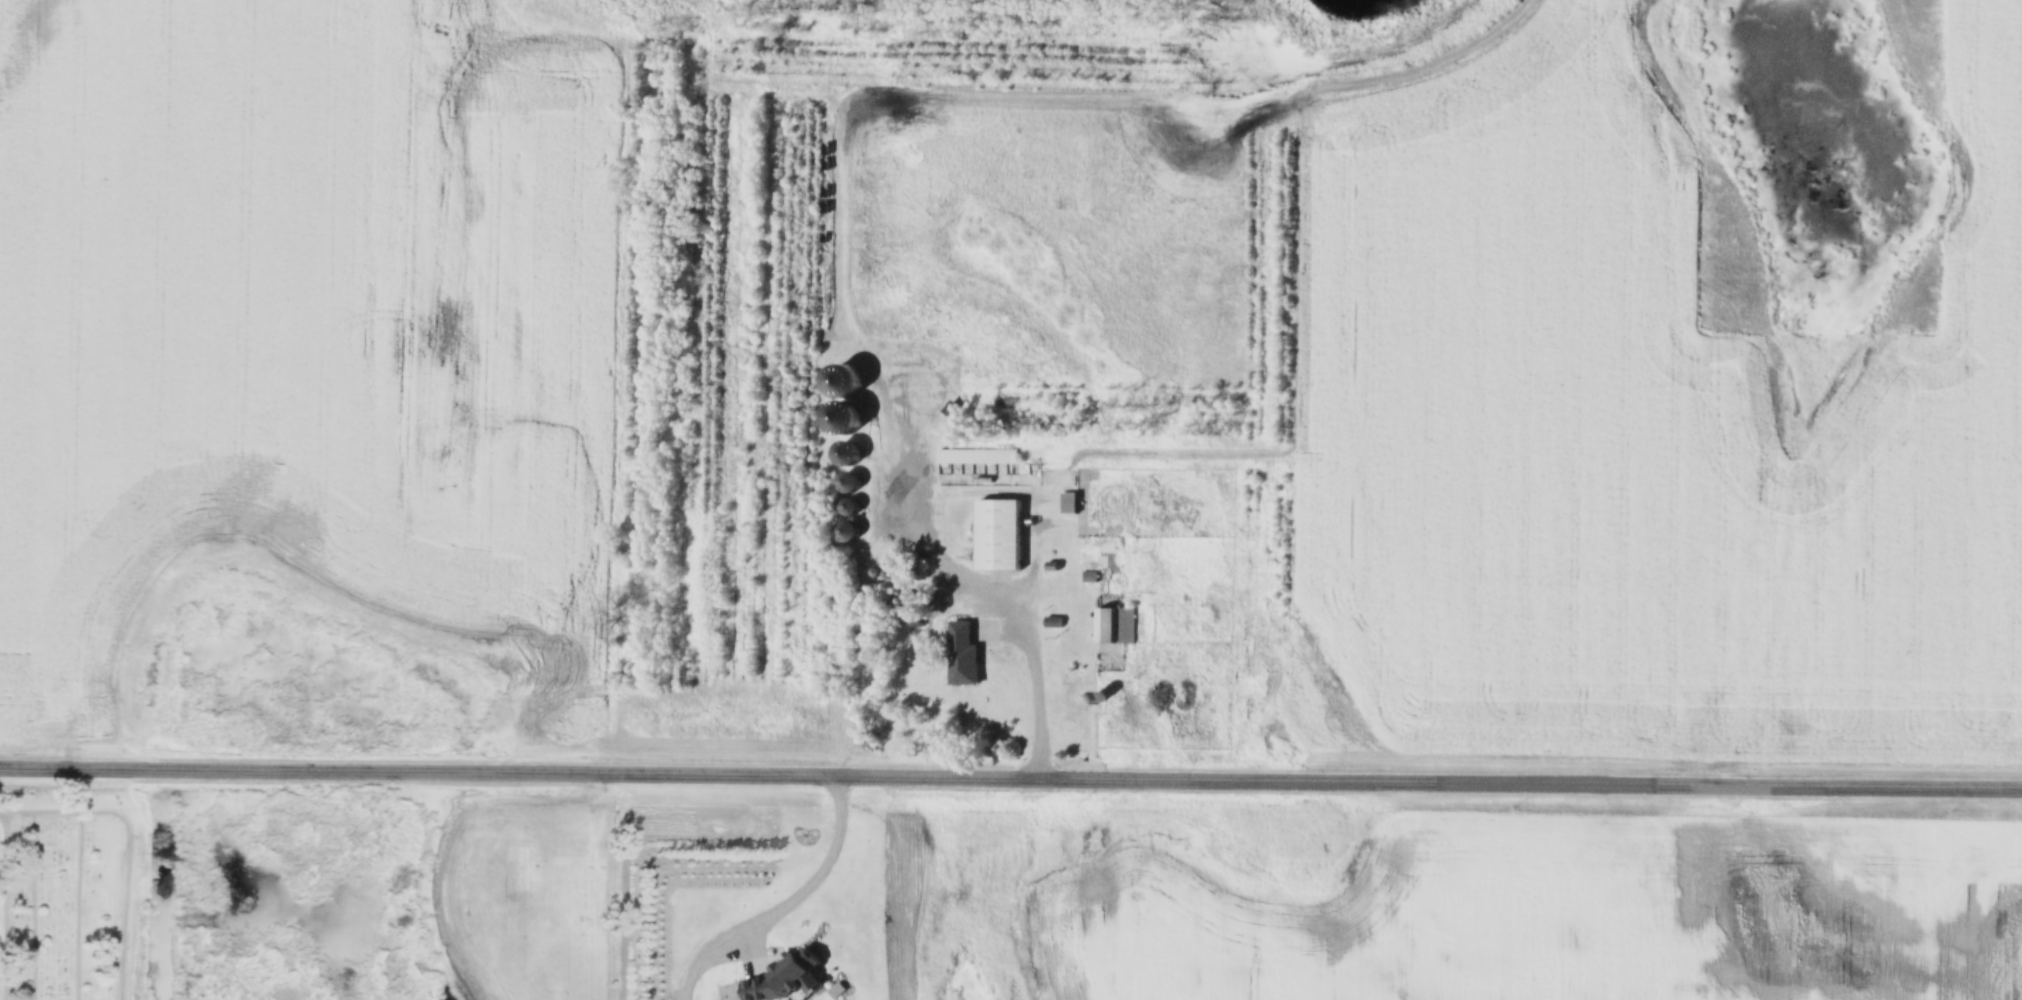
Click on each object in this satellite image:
building: (847, 454)
building: (978, 456)
building: (849, 482)
building: (1069, 503)
building: (848, 531)
building: (1003, 534)
building: (911, 609)
building: (1118, 626)
building: (963, 653)
road: (1031, 658)
road: (1011, 772)
road: (131, 843)
road: (814, 867)
park: (74, 896)

